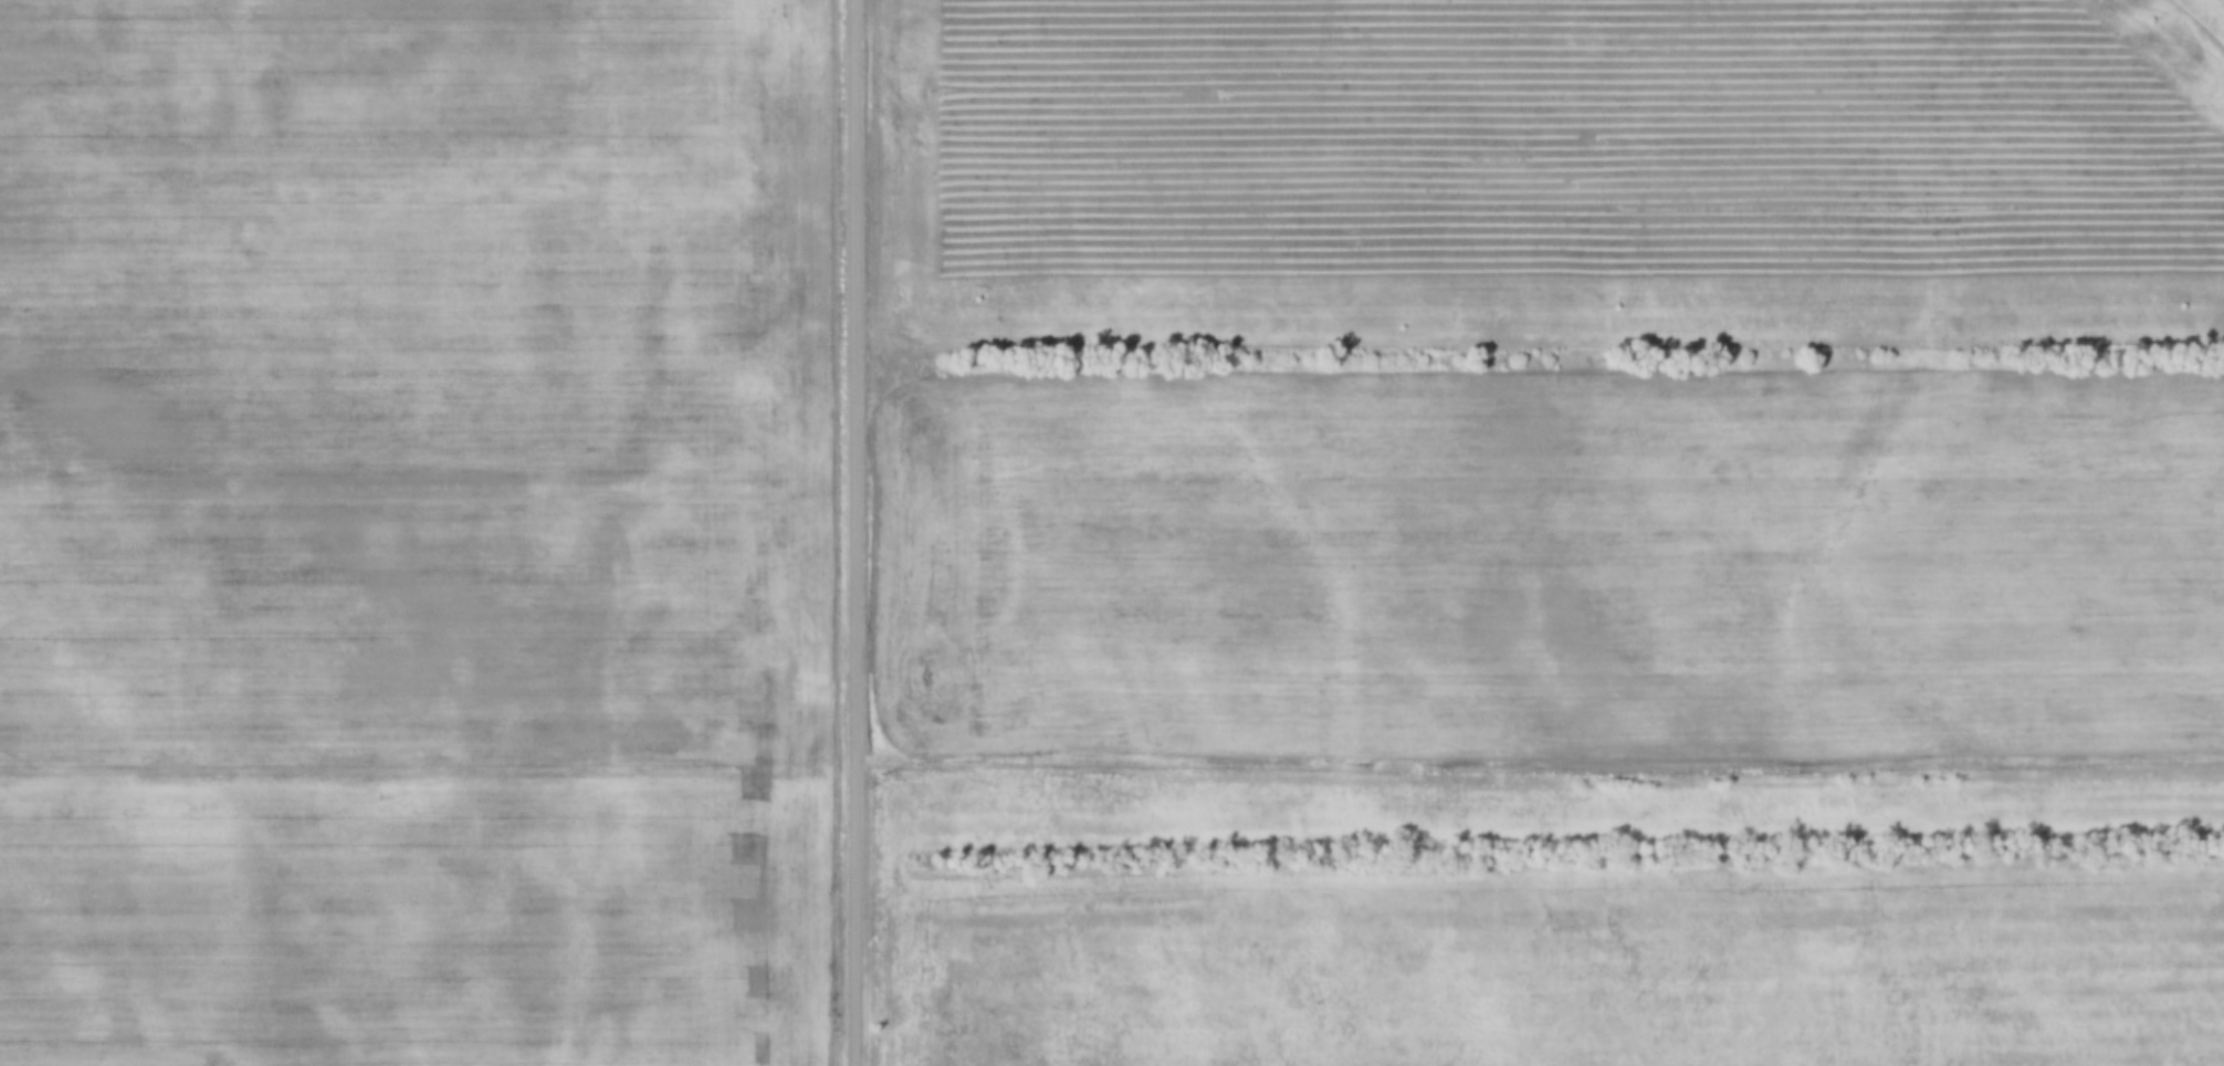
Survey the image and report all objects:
road: (856, 532)
road: (1111, 771)

